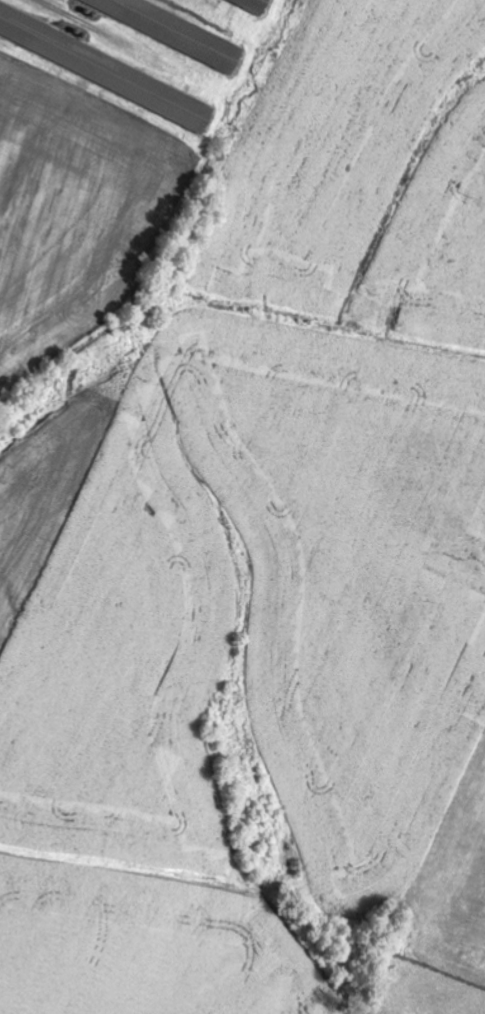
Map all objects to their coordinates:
building: (257, 4)
building: (106, 68)

